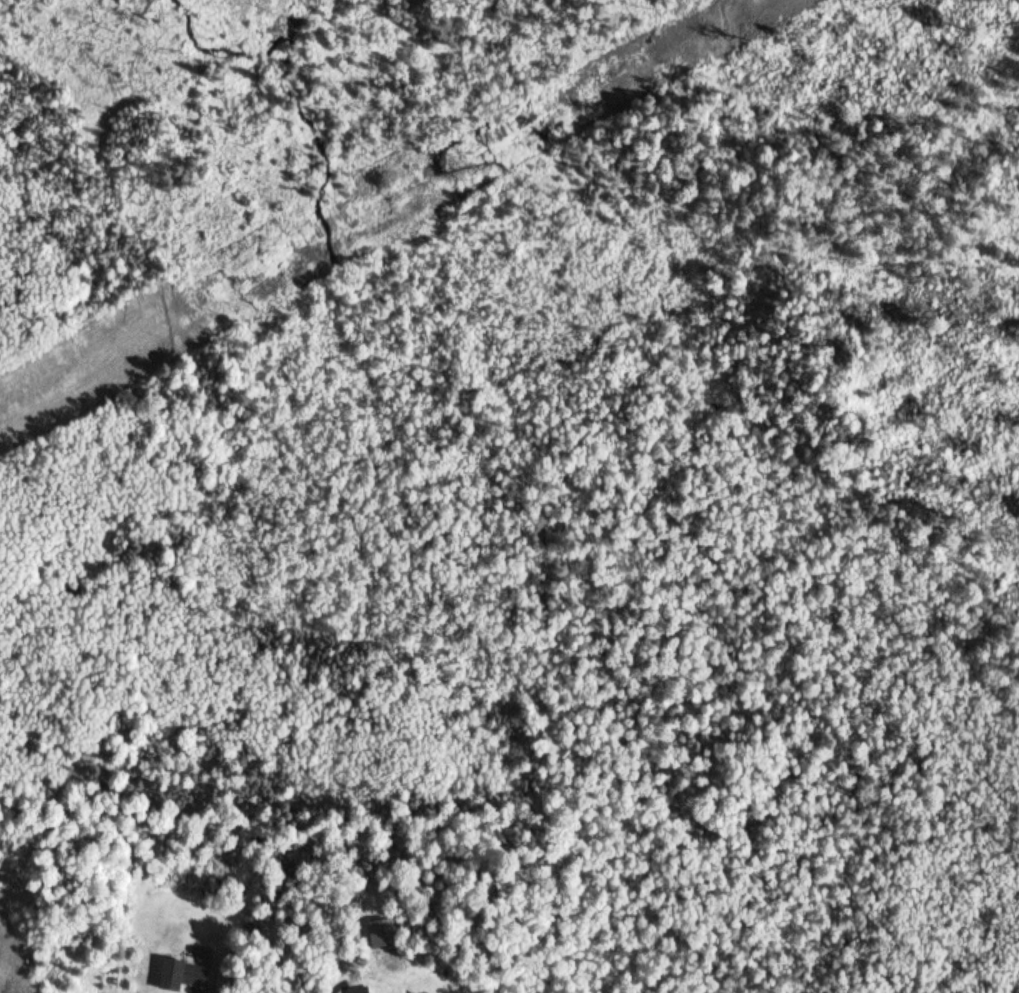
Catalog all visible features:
building: (381, 933)
building: (191, 973)
building: (358, 990)

